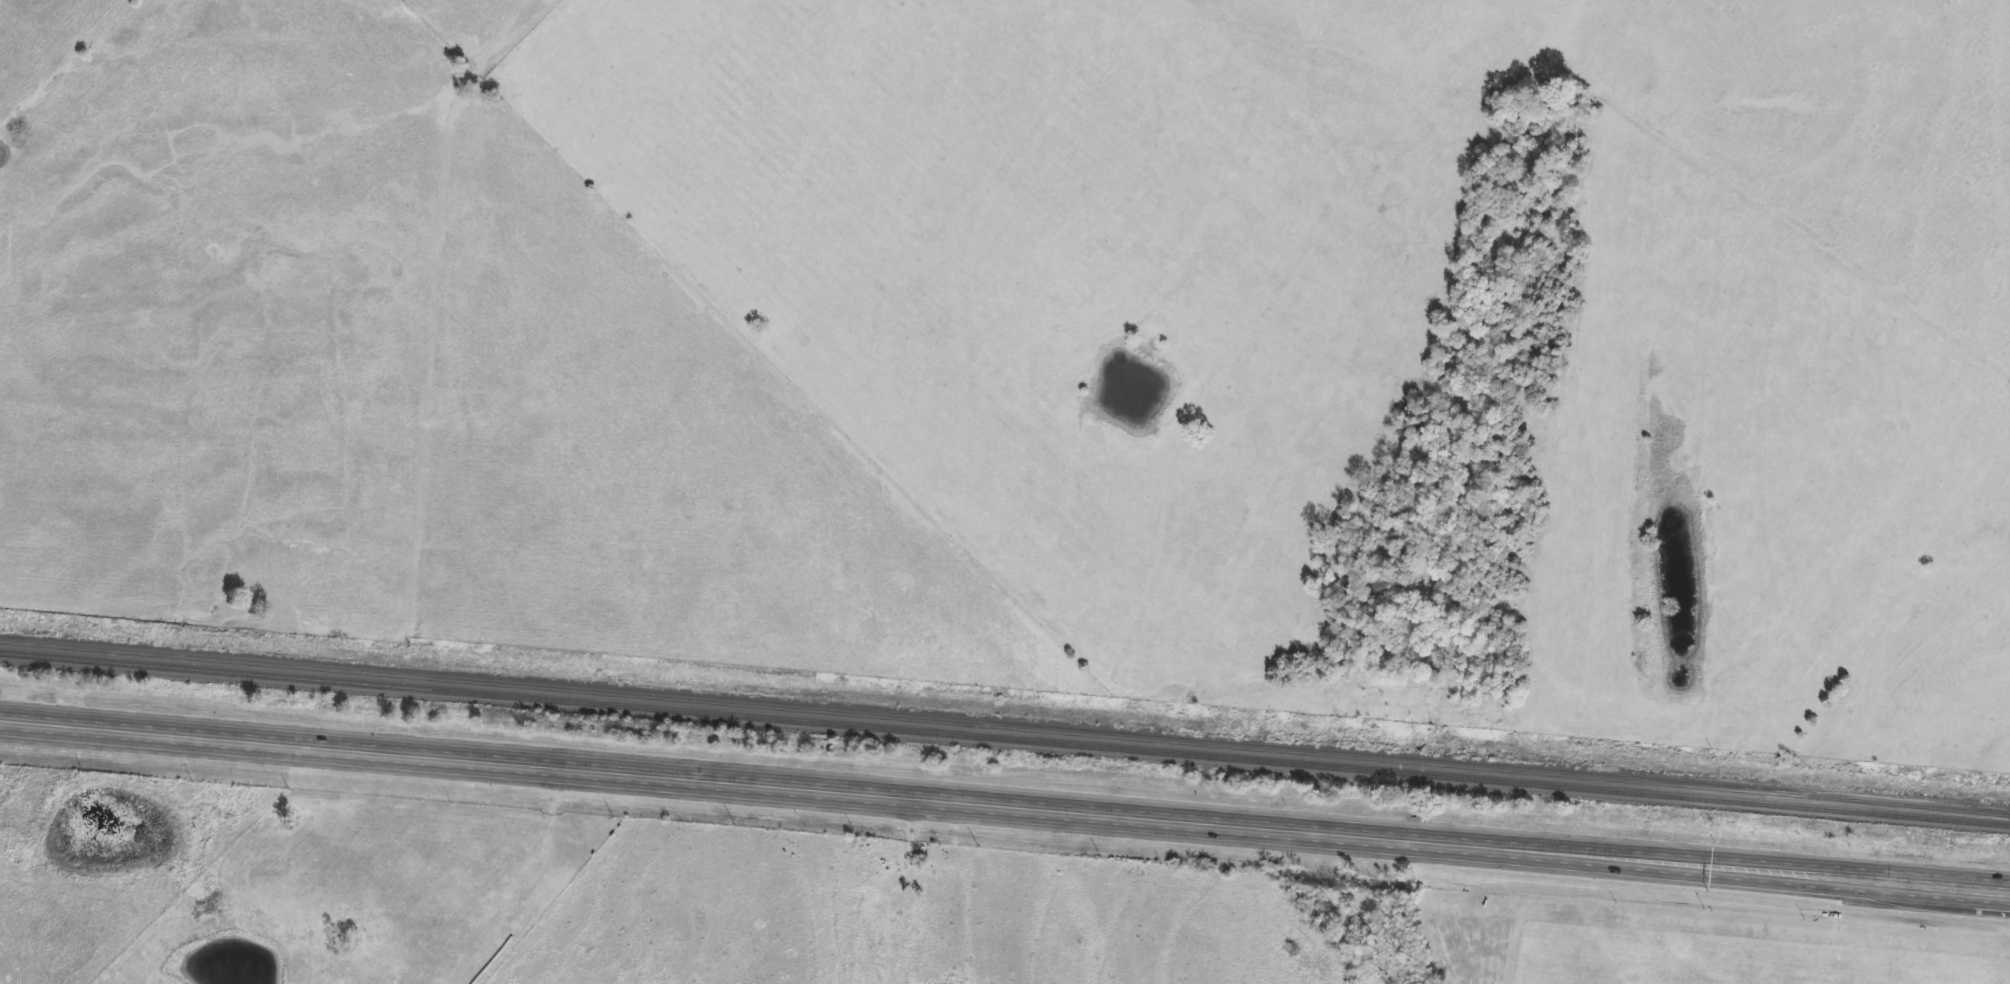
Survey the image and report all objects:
railway: (1005, 729)
railway: (1004, 739)
road: (710, 785)
road: (1715, 871)

